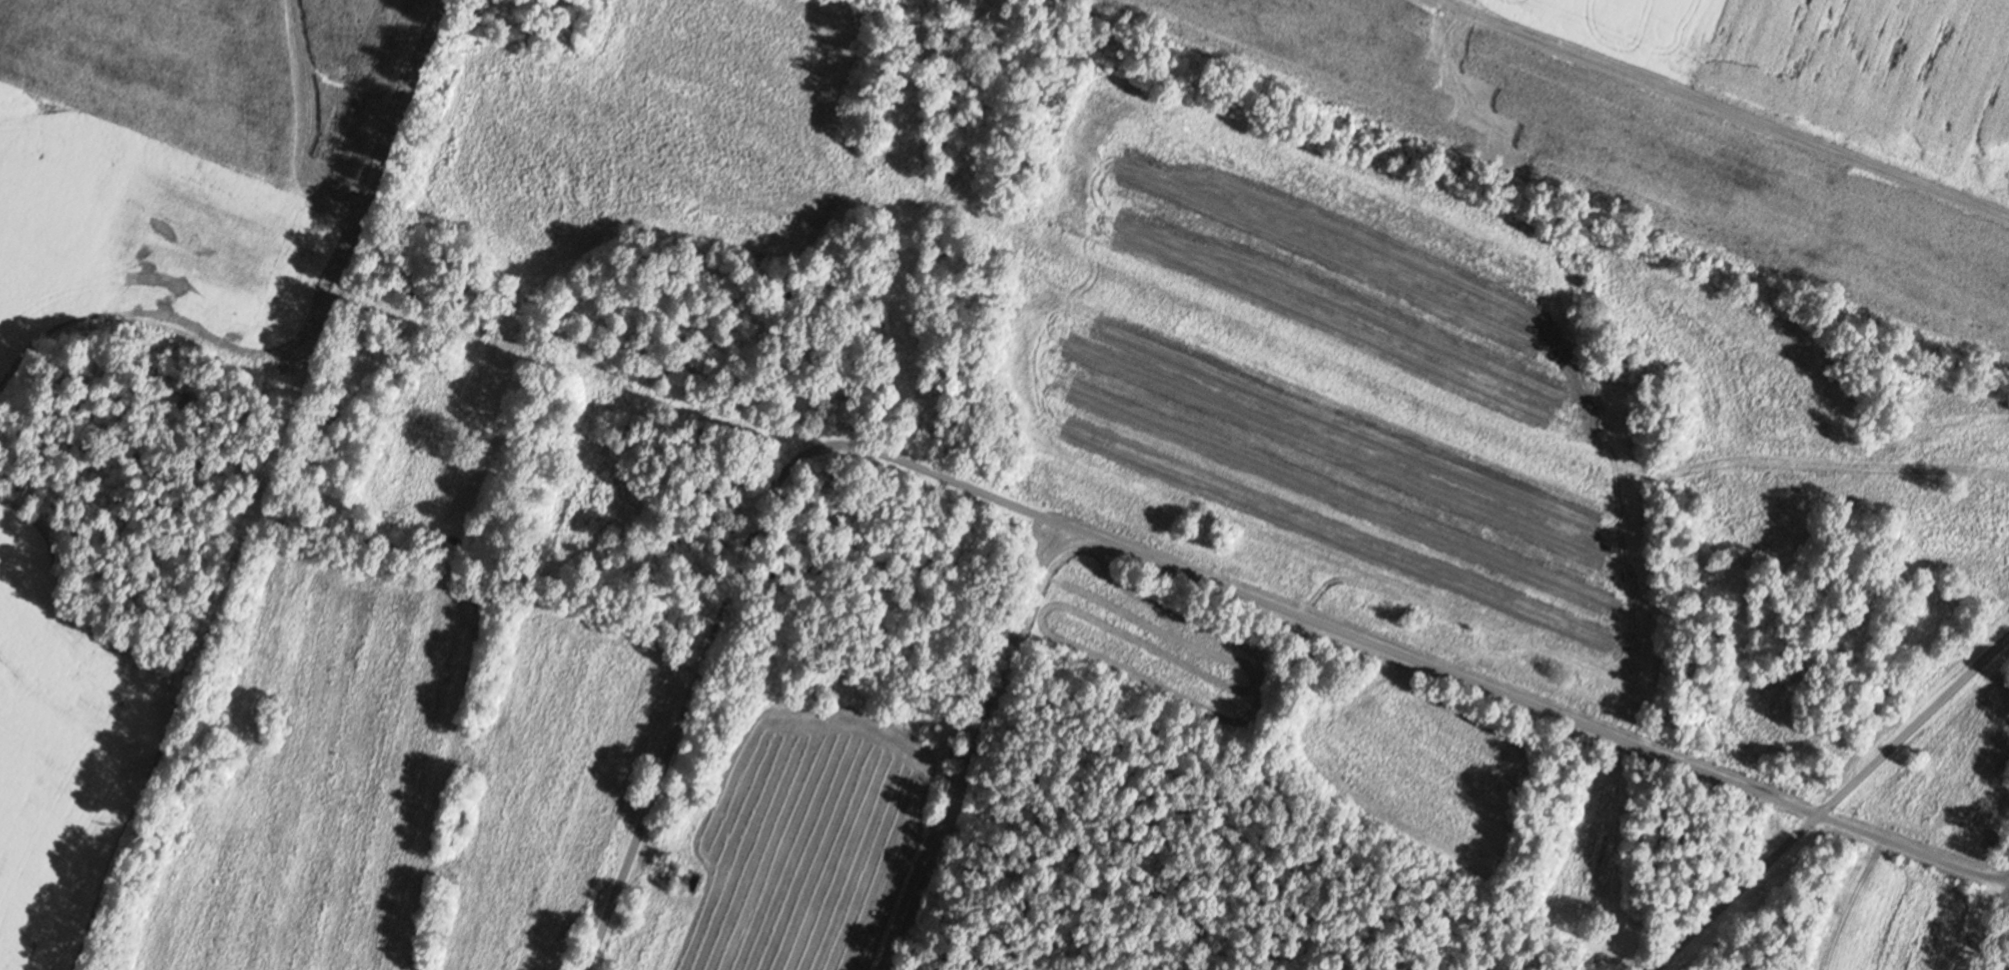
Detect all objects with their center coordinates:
road: (1049, 516)
road: (1912, 726)
road: (974, 745)
road: (1228, 791)
road: (1534, 847)
road: (1868, 871)
road: (1734, 892)

